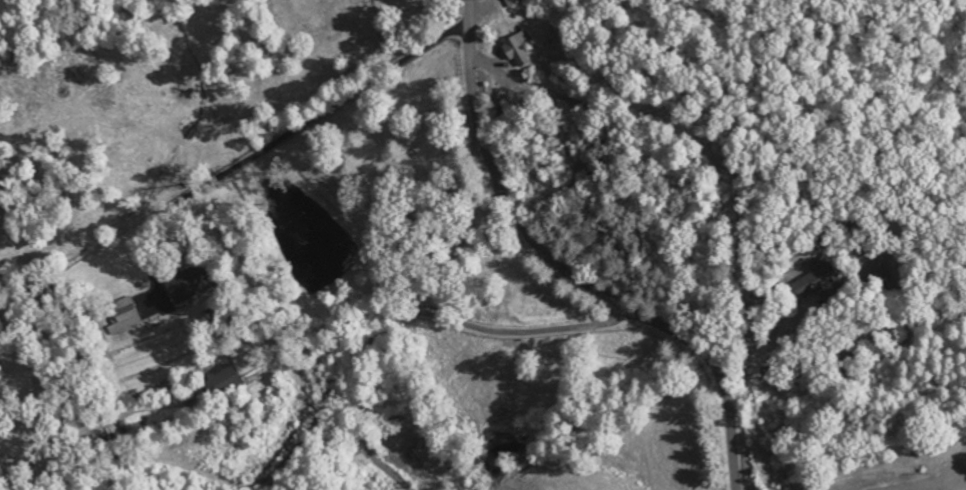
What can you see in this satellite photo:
building: (512, 3)
building: (517, 49)
road: (270, 142)
road: (565, 274)
building: (817, 282)
building: (184, 284)
road: (408, 314)
building: (124, 317)
road: (760, 350)
building: (221, 382)
road: (939, 478)

